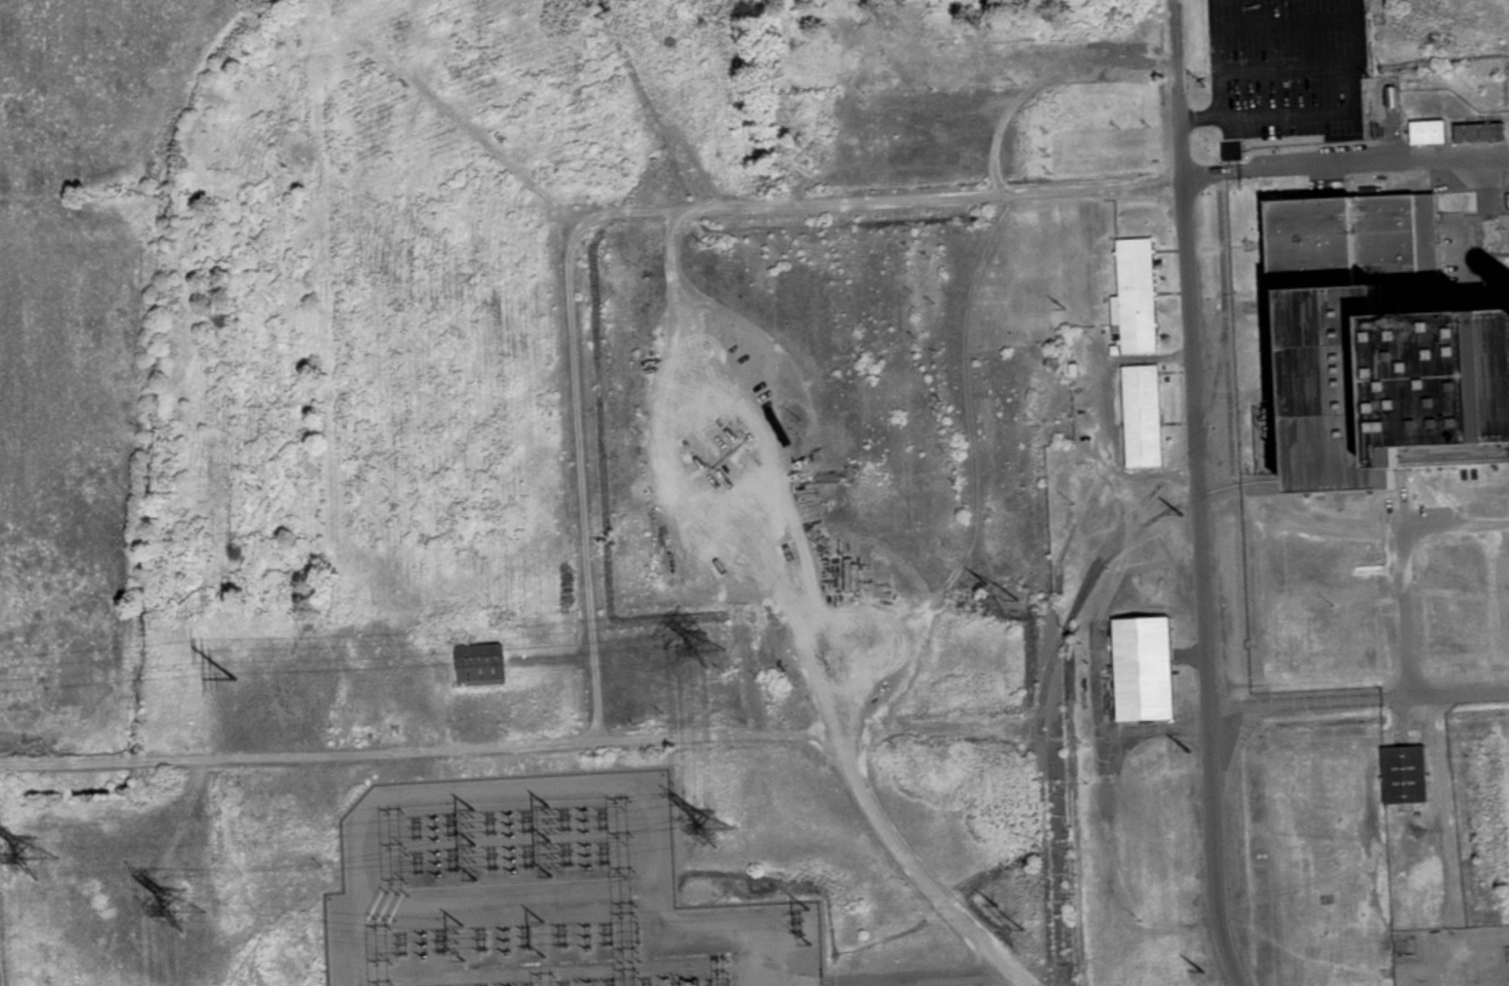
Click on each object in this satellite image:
road: (1288, 25)
road: (1218, 37)
parking lot: (1289, 66)
road: (1281, 71)
road: (1311, 113)
building: (1426, 134)
building: (1478, 134)
building: (1232, 153)
road: (1346, 168)
road: (621, 216)
building: (1136, 297)
power plant: (1376, 346)
building: (1370, 355)
building: (772, 399)
building: (1142, 417)
road: (1196, 494)
power tower: (1182, 516)
railway: (1086, 572)
power tower: (708, 650)
building: (478, 666)
building: (1141, 669)
power tower: (235, 678)
road: (1359, 702)
road: (1402, 724)
road: (414, 750)
power tower: (1190, 753)
building: (1406, 774)
road: (588, 786)
road: (1447, 813)
power tower: (717, 830)
power tower: (39, 858)
road: (922, 869)
power substation: (544, 893)
power tower: (184, 910)
power tower: (1205, 973)
road: (916, 979)
road: (810, 984)

